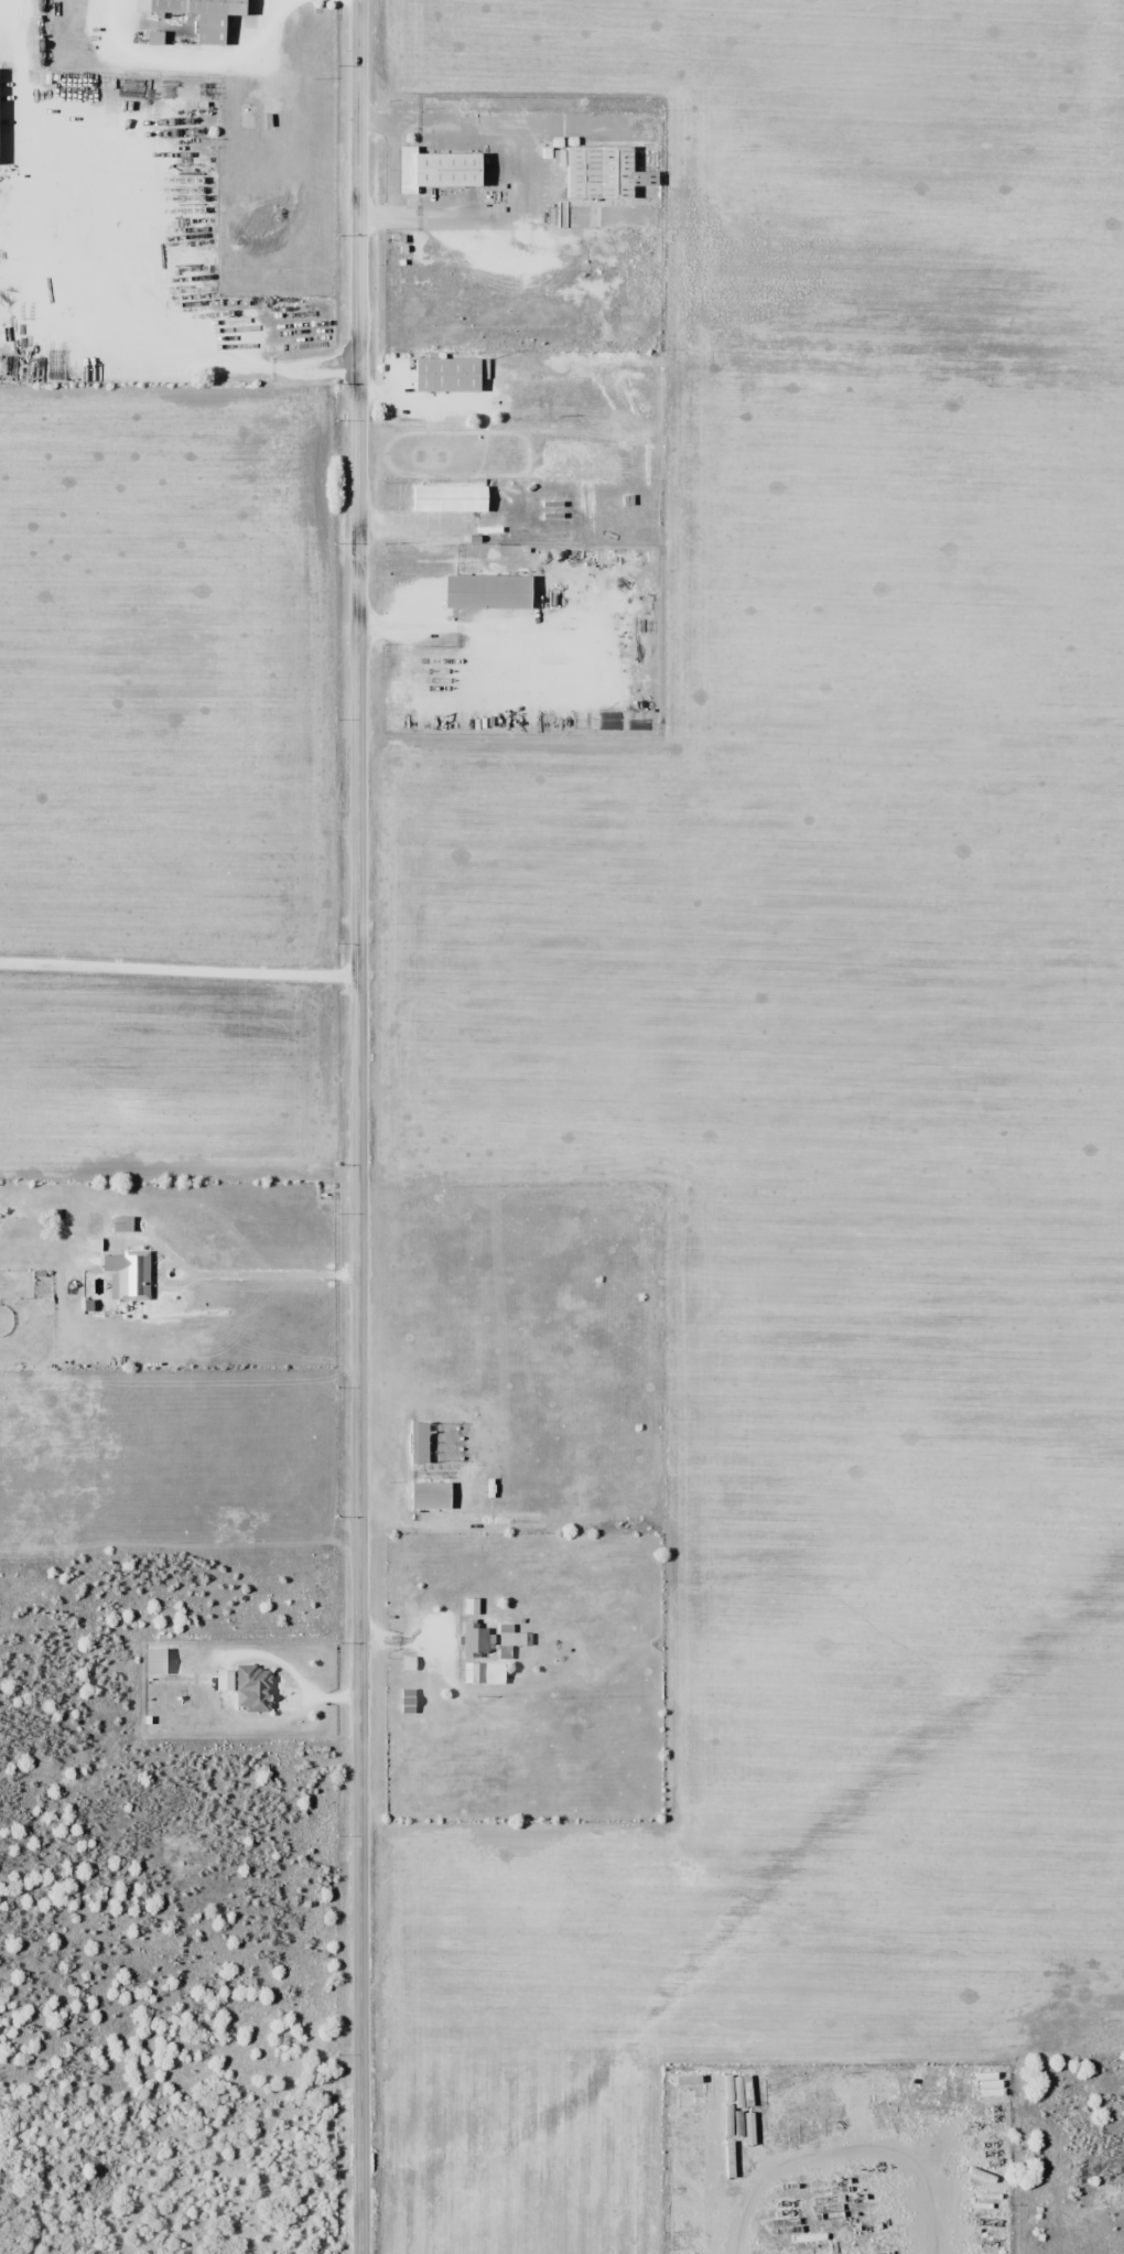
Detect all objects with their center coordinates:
building: (199, 17)
building: (437, 171)
building: (607, 174)
building: (448, 375)
building: (451, 498)
road: (360, 1126)
building: (130, 1273)
building: (422, 1443)
building: (432, 1496)
building: (472, 1606)
building: (476, 1640)
building: (472, 1673)
road: (296, 1675)
building: (256, 1687)
building: (408, 1701)
building: (987, 2200)

